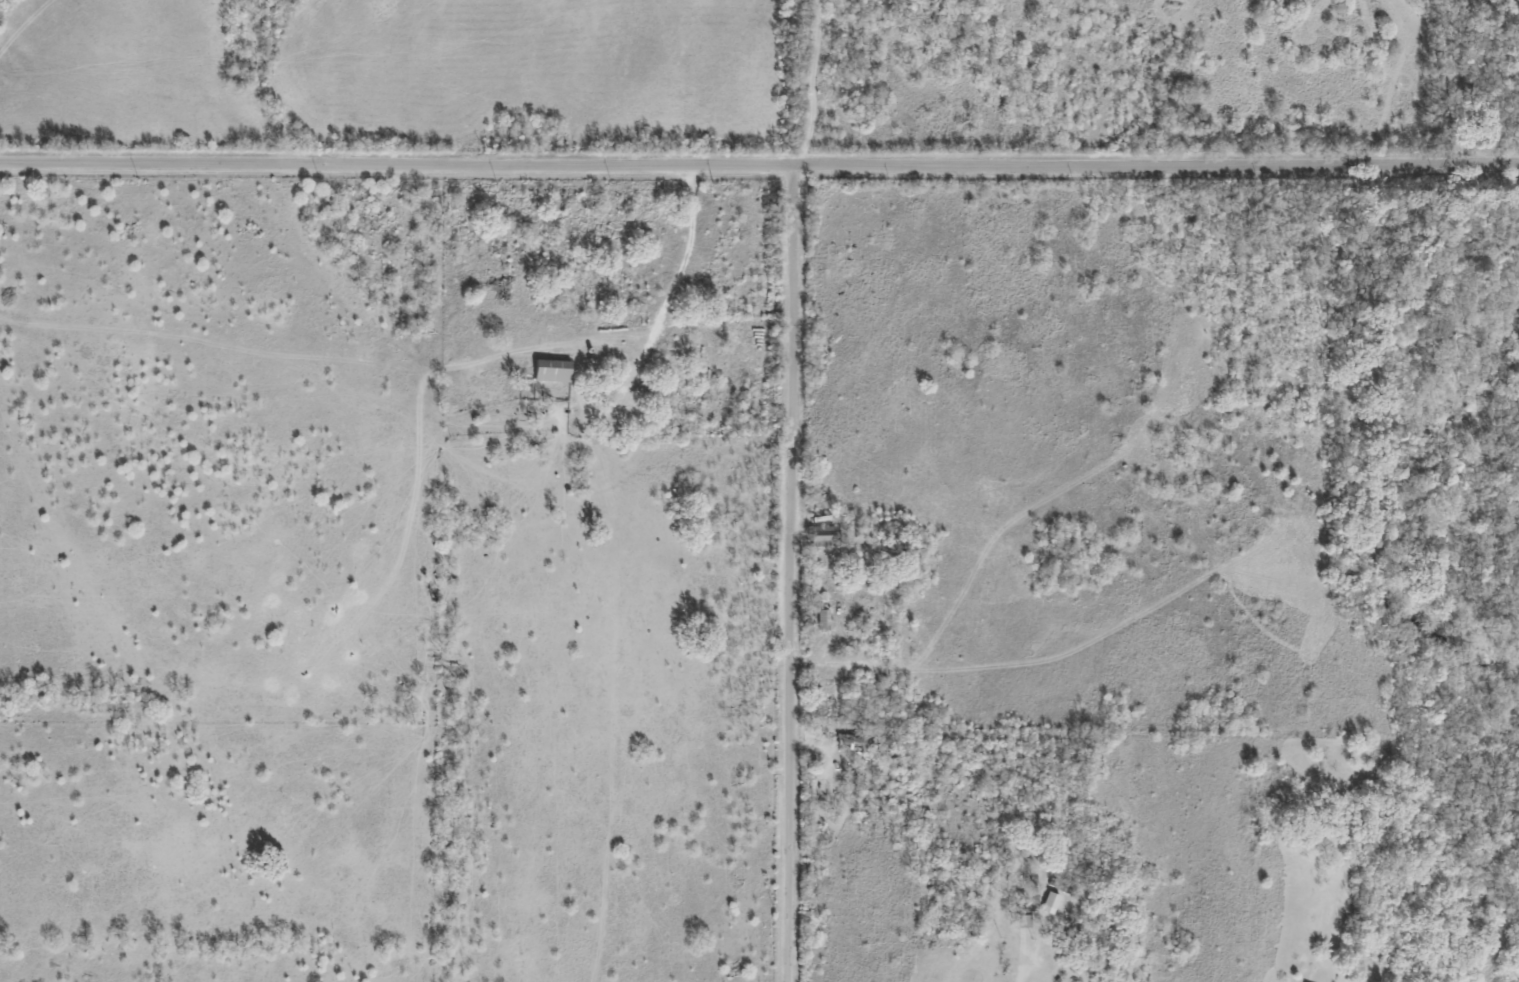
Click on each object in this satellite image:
road: (759, 162)
building: (548, 369)
building: (821, 535)
road: (785, 572)
building: (820, 619)
building: (847, 740)
building: (1019, 879)
building: (1060, 883)
building: (1019, 917)

